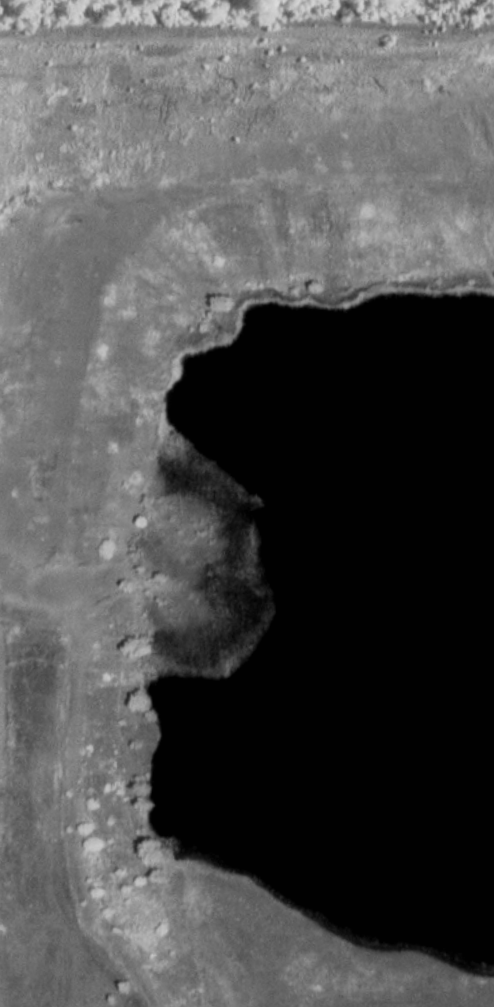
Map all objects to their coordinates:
quarry: (247, 516)

